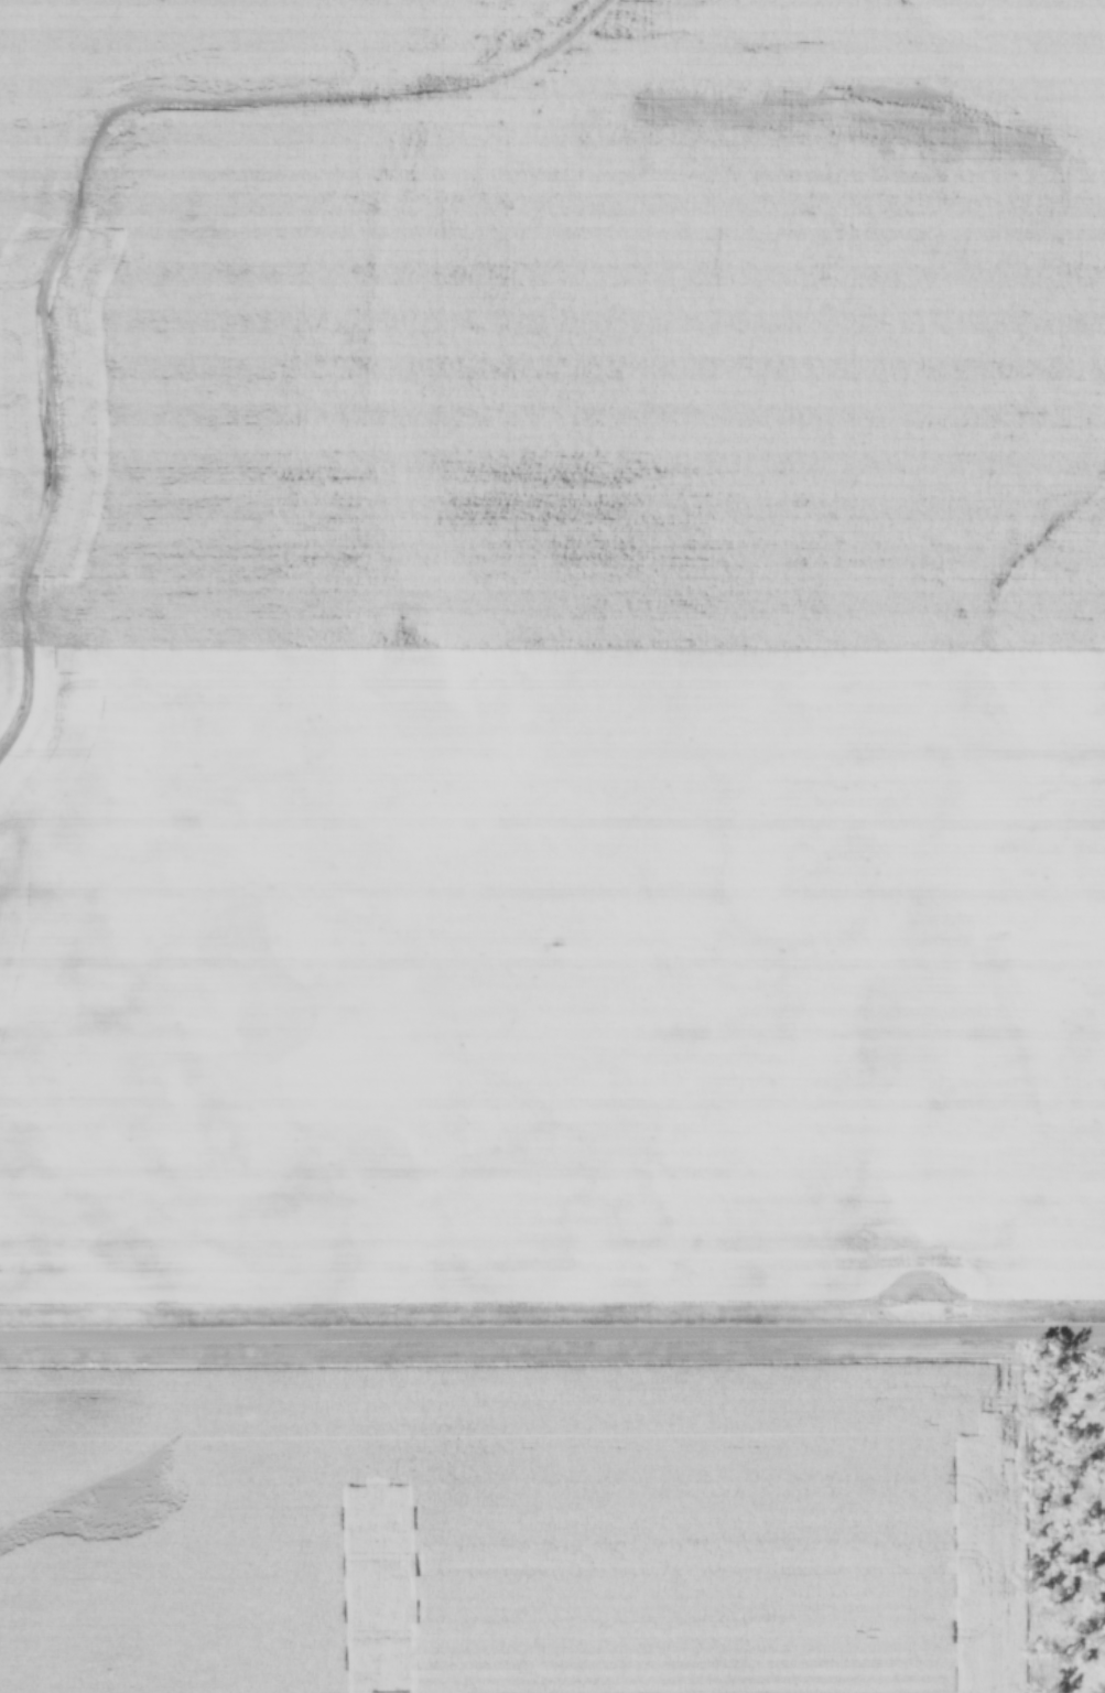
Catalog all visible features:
road: (552, 1333)

